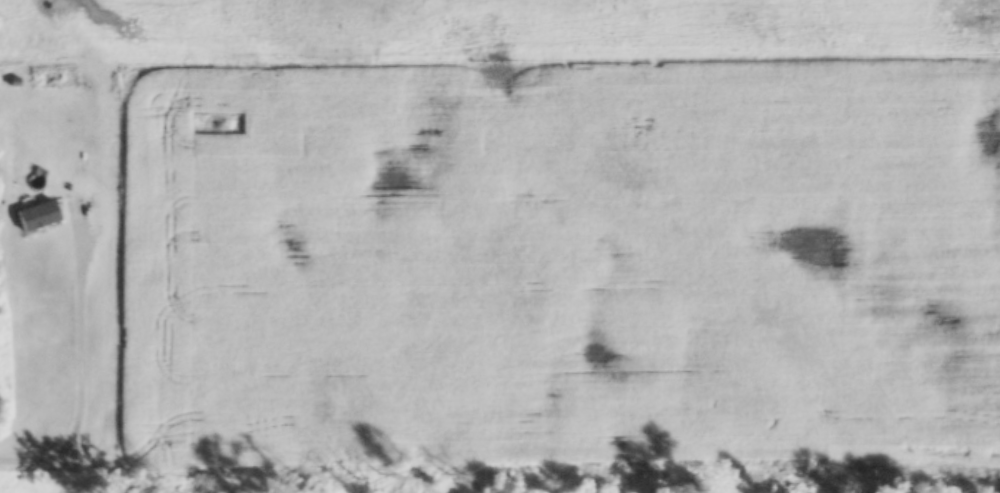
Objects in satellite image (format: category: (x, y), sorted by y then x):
building: (39, 224)
road: (75, 376)

